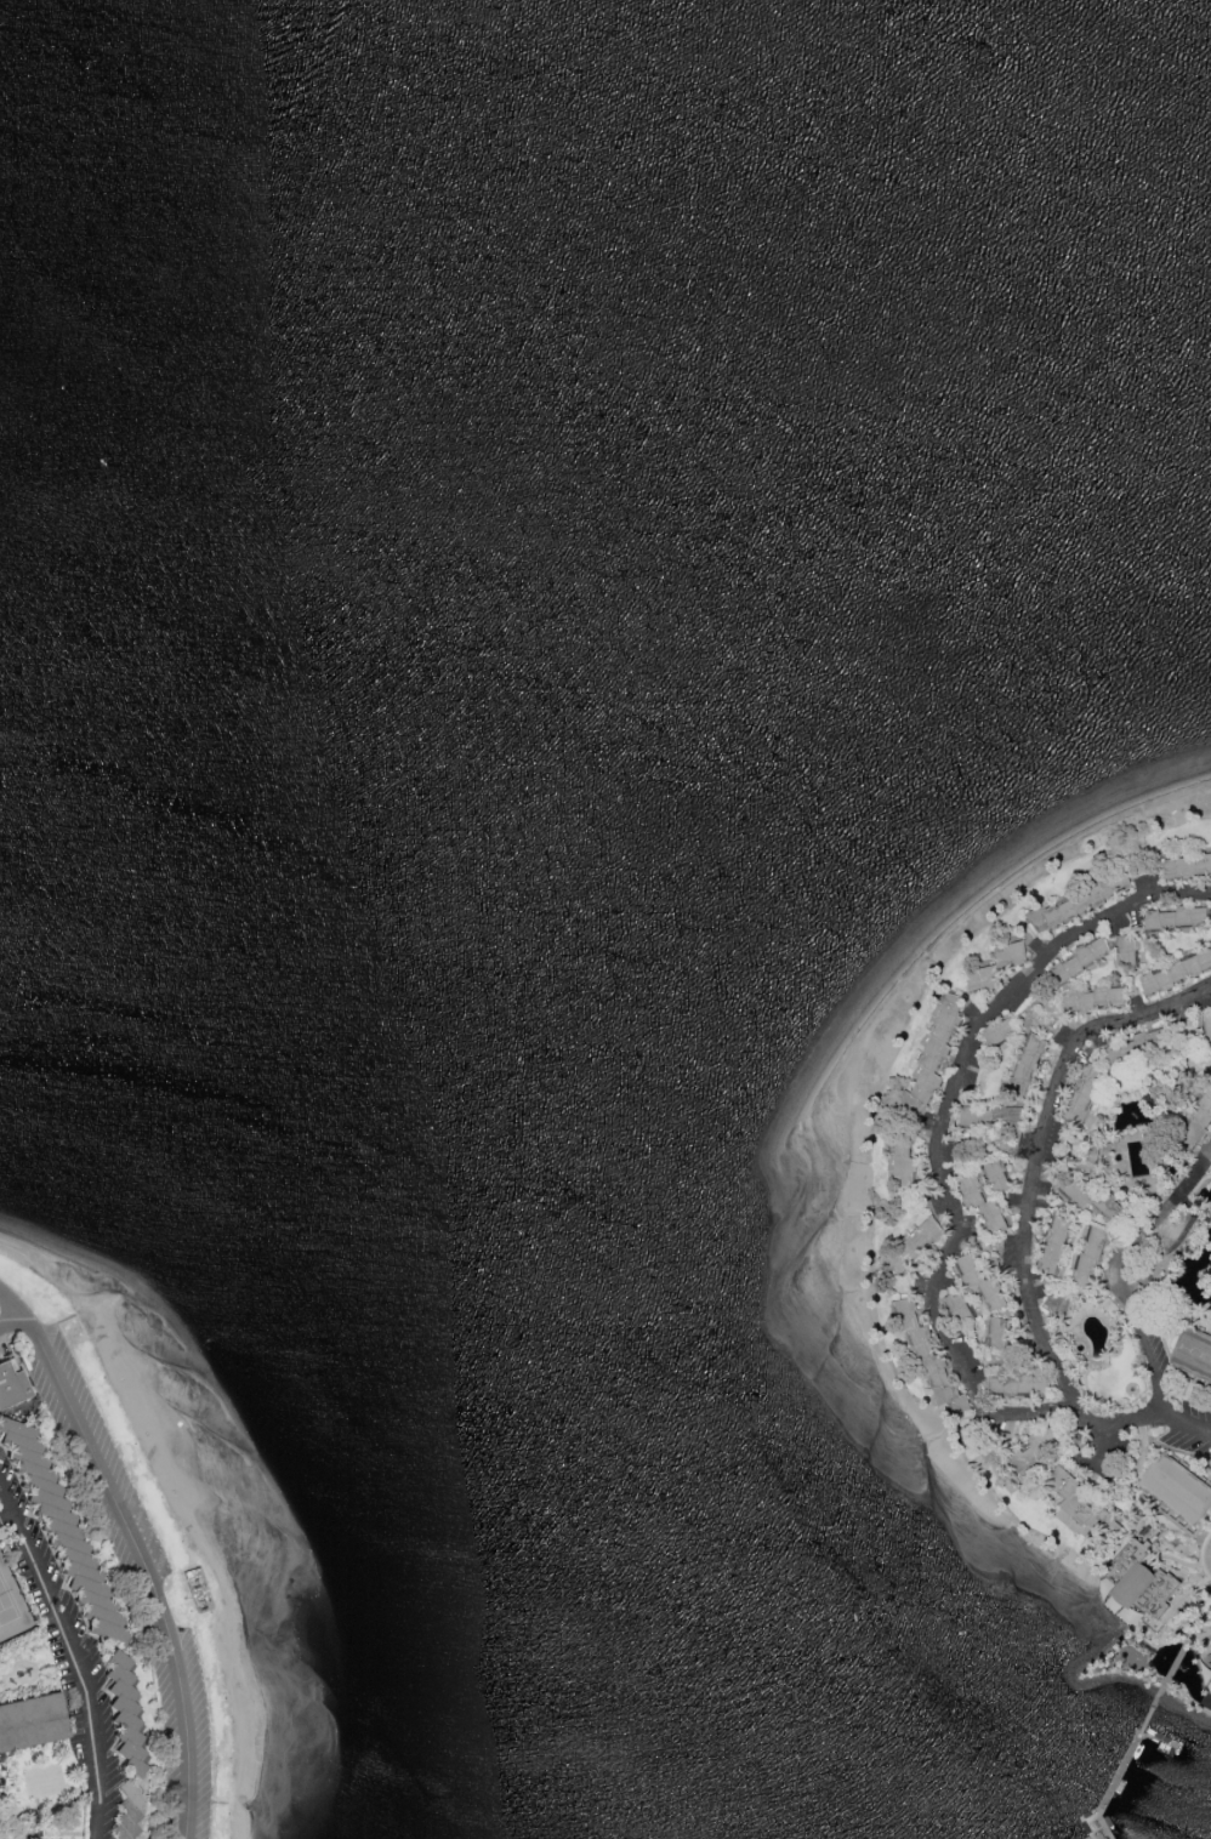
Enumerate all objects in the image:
building: (1187, 867)
building: (1080, 903)
building: (1177, 919)
building: (1128, 952)
building: (1080, 963)
building: (997, 967)
building: (1178, 973)
building: (1095, 1000)
road: (1150, 1012)
building: (1207, 1032)
building: (1000, 1034)
building: (1137, 1049)
building: (936, 1051)
building: (1028, 1063)
building: (1084, 1097)
building: (993, 1117)
building: (1198, 1125)
road: (942, 1134)
building: (1137, 1152)
building: (903, 1154)
road: (1206, 1161)
building: (997, 1175)
road: (1189, 1183)
building: (1093, 1200)
building: (983, 1203)
building: (1057, 1245)
building: (914, 1247)
building: (1091, 1258)
road: (1027, 1269)
building: (980, 1282)
building: (1061, 1303)
building: (960, 1309)
road: (18, 1316)
road: (1138, 1319)
building: (995, 1333)
building: (1194, 1354)
building: (929, 1361)
building: (1113, 1378)
building: (10, 1384)
building: (1020, 1385)
parking lot: (1190, 1430)
road: (1102, 1445)
building: (1036, 1454)
building: (1177, 1490)
road: (6, 1503)
building: (1084, 1505)
building: (59, 1533)
road: (146, 1567)
building: (1142, 1582)
park: (12, 1604)
road: (1199, 1636)
building: (1210, 1657)
road: (1178, 1662)
road: (76, 1664)
road: (1165, 1687)
building: (119, 1710)
building: (32, 1723)
pier: (1124, 1765)
building: (126, 1811)

